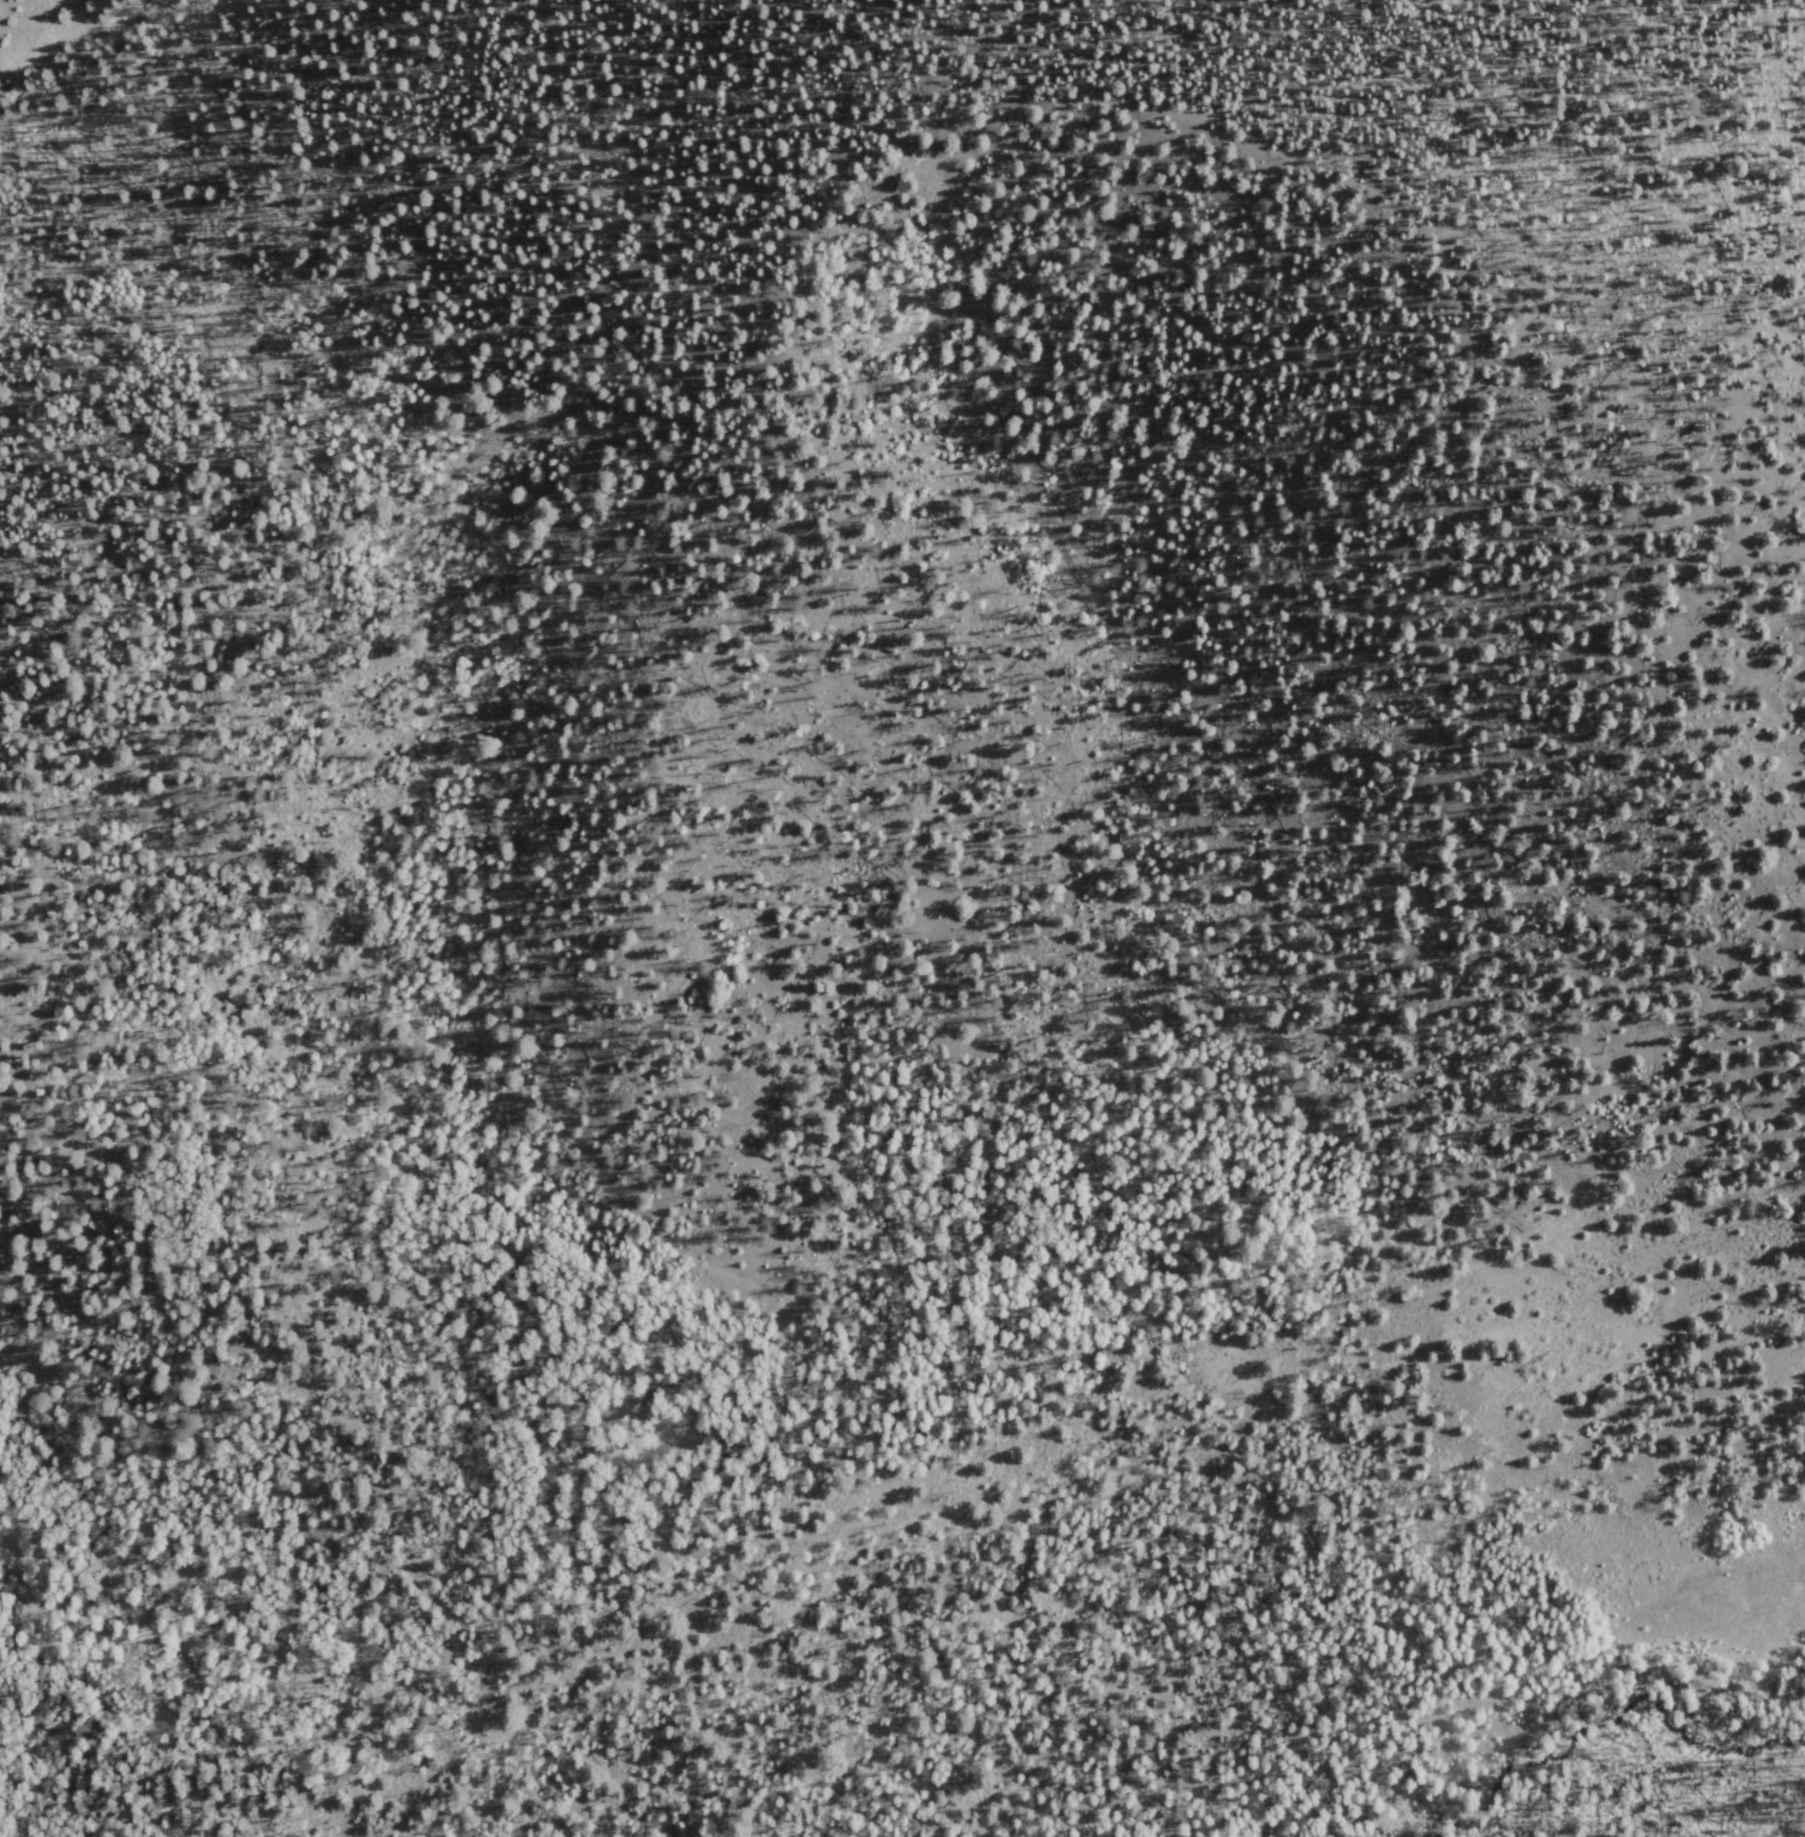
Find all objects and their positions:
road: (1637, 1729)

